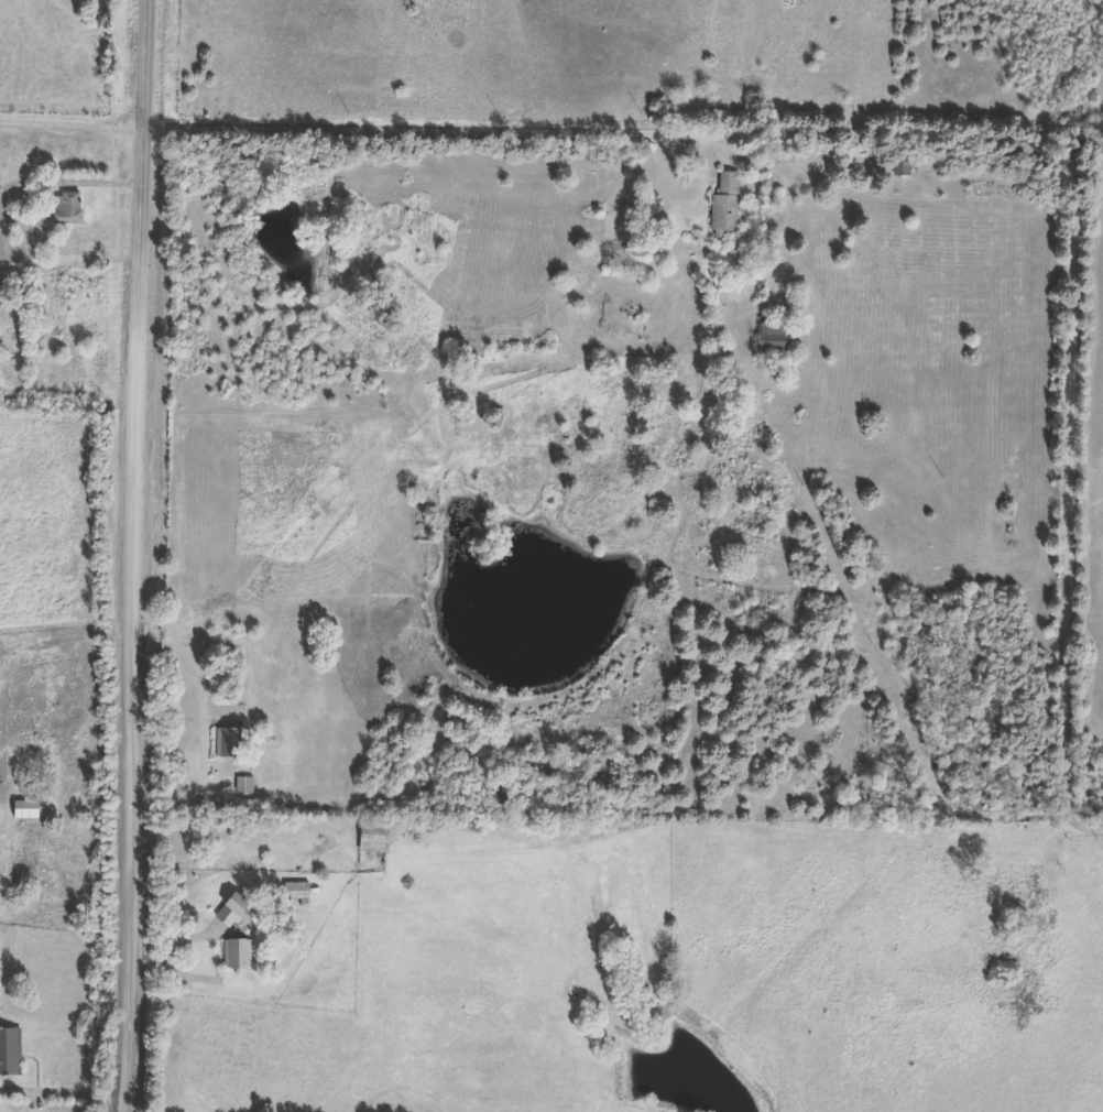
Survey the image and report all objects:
road: (75, 124)
road: (954, 130)
road: (1084, 161)
building: (904, 170)
road: (74, 174)
building: (998, 194)
building: (728, 205)
building: (68, 209)
building: (774, 337)
road: (135, 556)
road: (68, 633)
building: (228, 742)
building: (247, 785)
building: (28, 810)
road: (608, 836)
building: (374, 839)
building: (298, 894)
building: (234, 911)
building: (239, 955)
building: (11, 1051)
road: (65, 1084)

